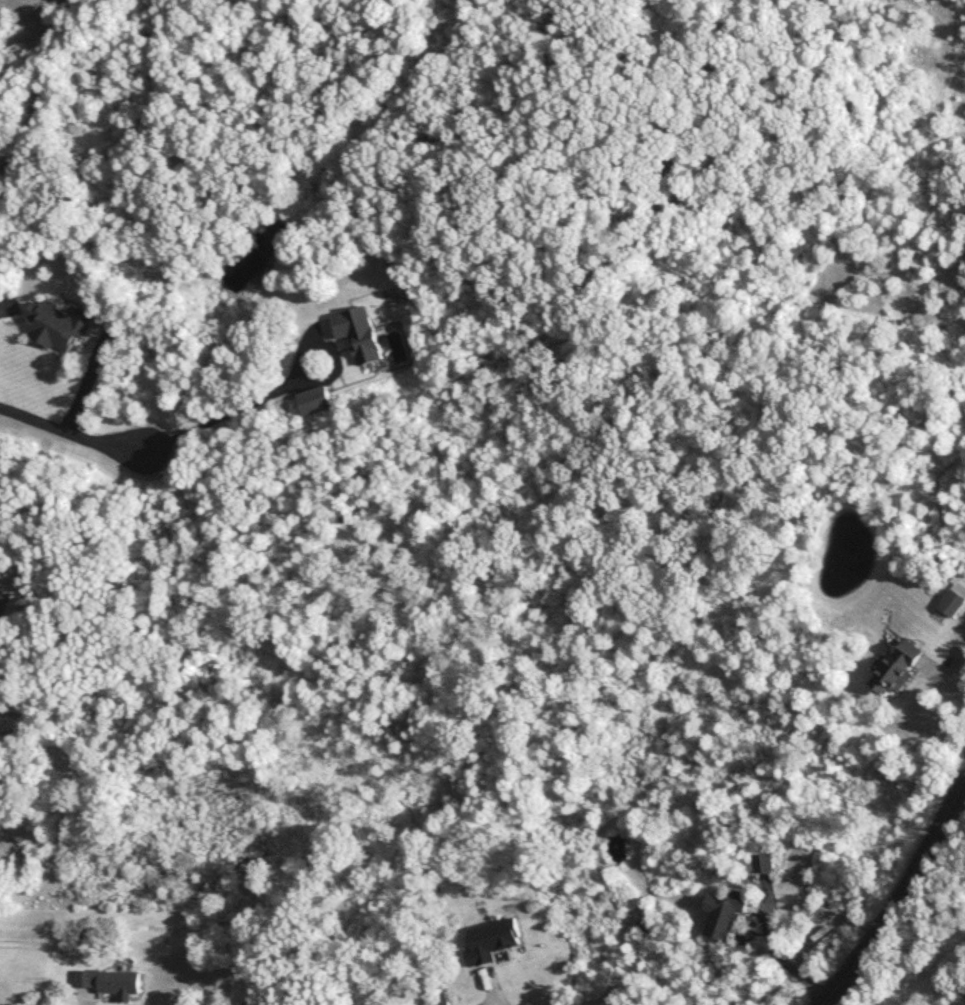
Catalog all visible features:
building: (59, 327)
building: (359, 333)
building: (315, 401)
road: (236, 408)
road: (72, 436)
building: (954, 601)
building: (899, 668)
road: (956, 811)
building: (764, 863)
road: (901, 896)
building: (726, 916)
road: (783, 960)
building: (110, 983)
road: (495, 994)

